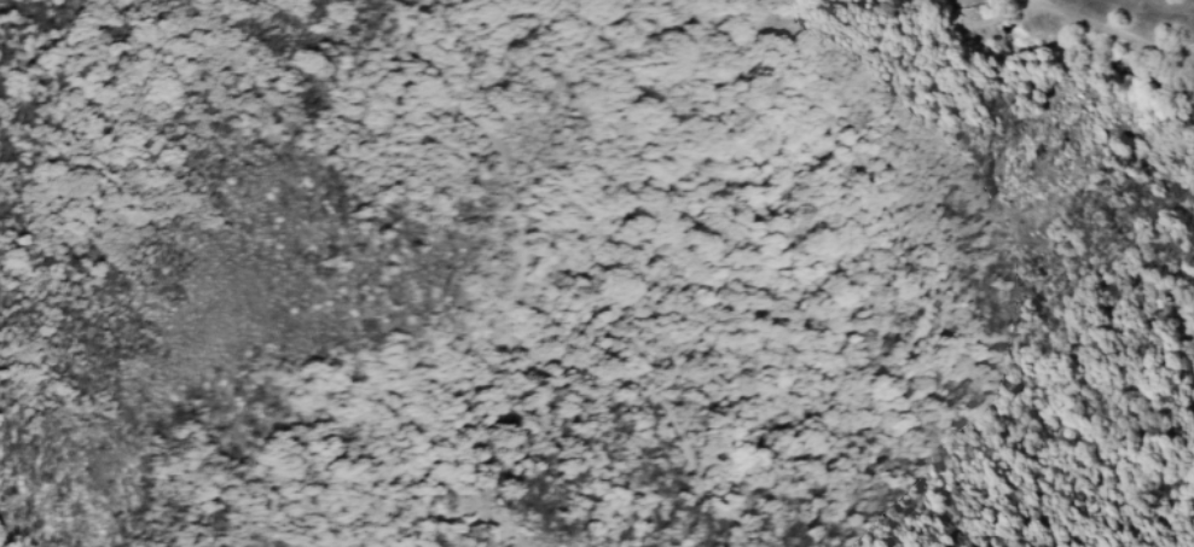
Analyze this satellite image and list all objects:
road: (1153, 6)
road: (511, 314)

